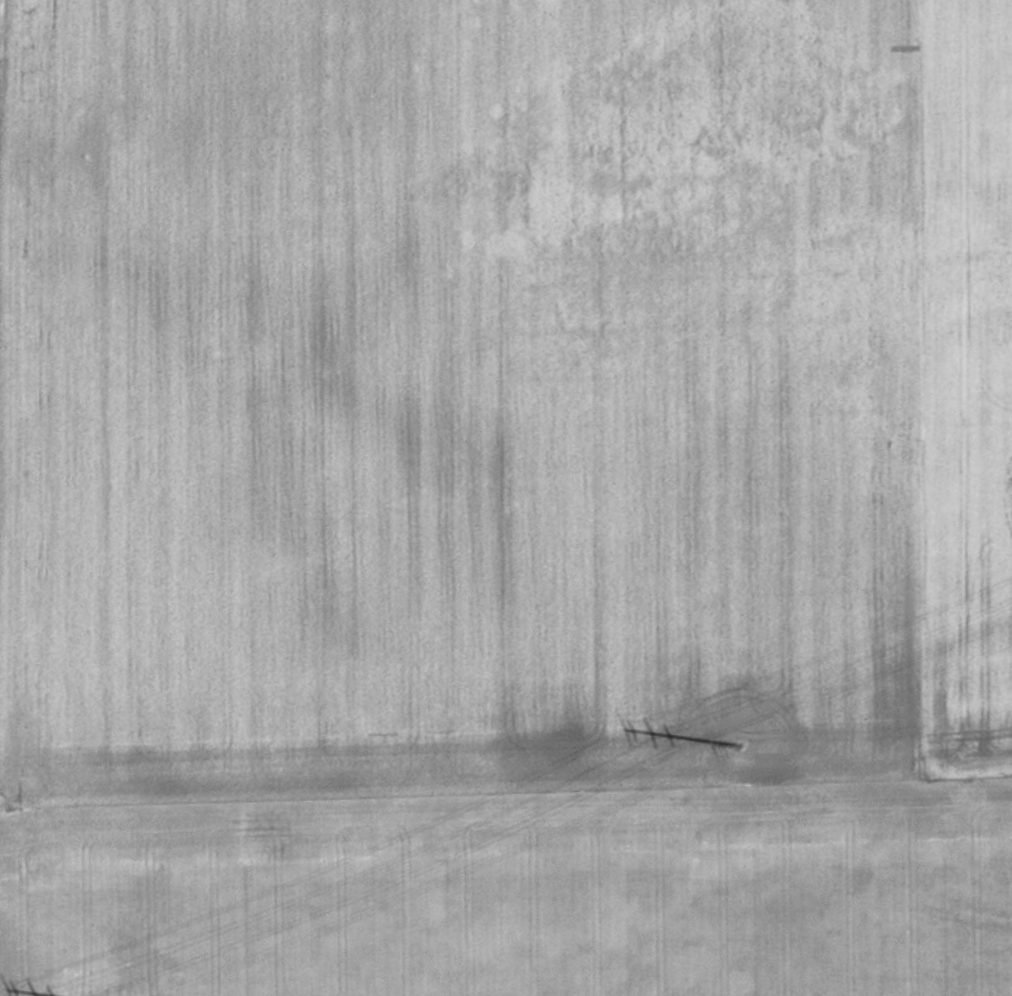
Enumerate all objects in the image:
power tower: (744, 746)

